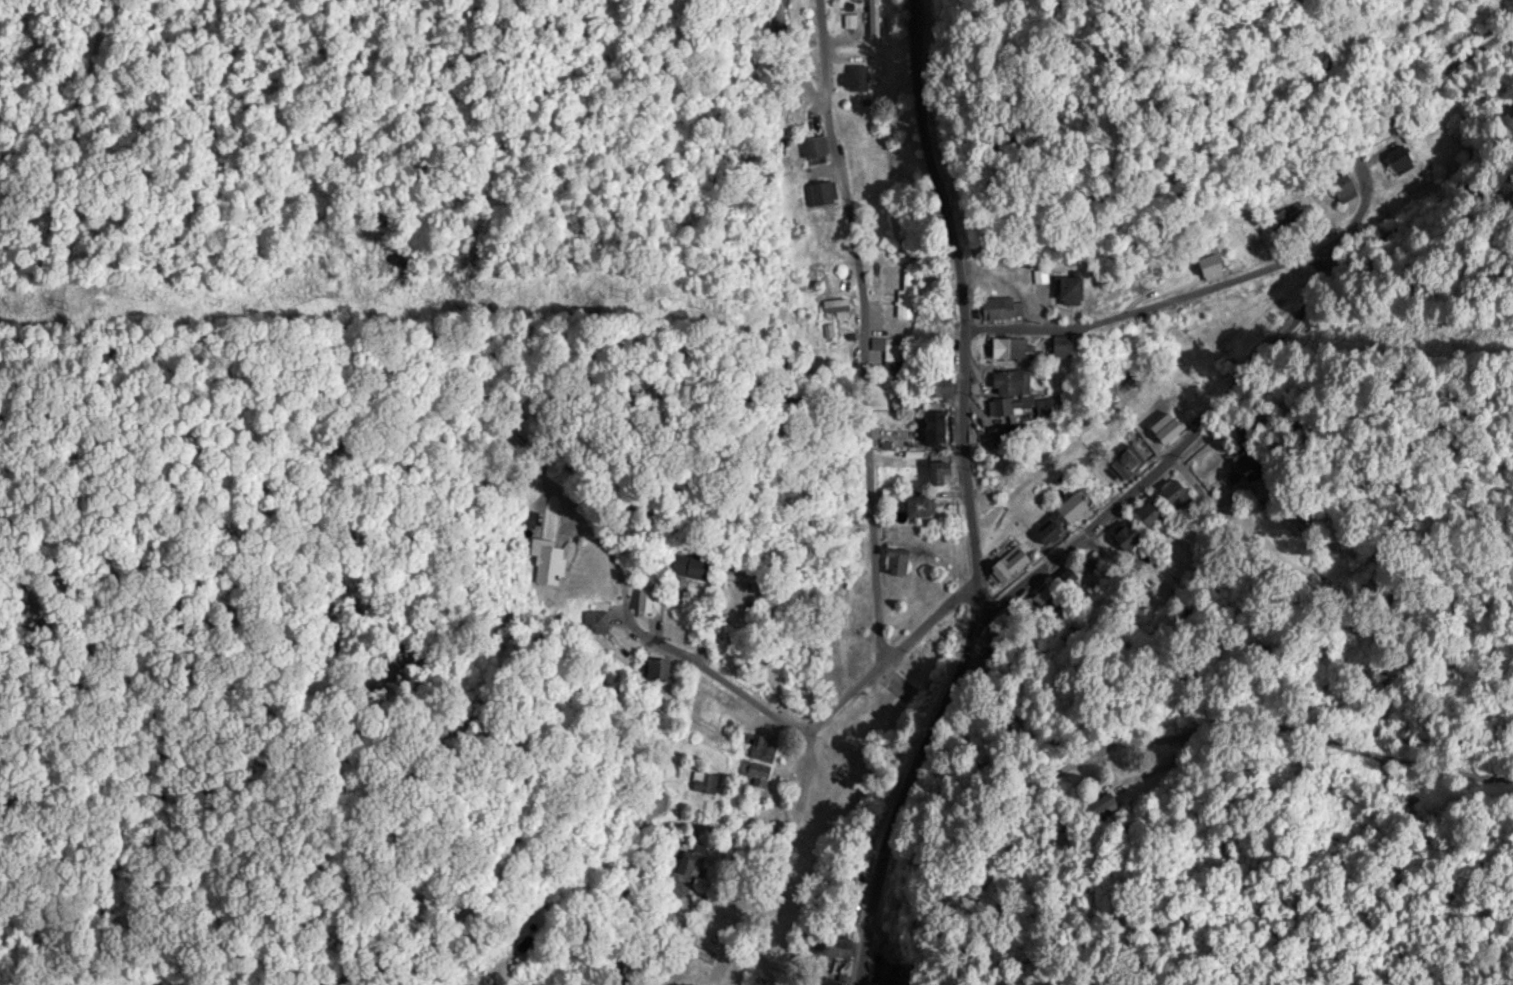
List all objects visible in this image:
building: (778, 13)
building: (872, 18)
building: (848, 20)
building: (798, 56)
building: (1313, 59)
building: (853, 78)
road: (1386, 97)
building: (809, 146)
building: (1396, 160)
building: (1338, 187)
building: (818, 191)
building: (1285, 213)
building: (897, 234)
building: (1258, 248)
building: (1204, 265)
building: (1063, 290)
building: (906, 296)
road: (1158, 302)
building: (996, 308)
road: (865, 328)
building: (1055, 347)
building: (1007, 348)
building: (892, 349)
building: (1005, 381)
building: (934, 386)
building: (893, 392)
building: (1004, 407)
building: (930, 426)
building: (1161, 428)
road: (1506, 439)
building: (1241, 460)
building: (1123, 462)
building: (935, 472)
building: (1172, 493)
road: (961, 498)
building: (914, 504)
building: (1147, 513)
building: (1061, 516)
building: (527, 517)
road: (1091, 536)
building: (1124, 536)
building: (546, 559)
building: (896, 562)
building: (683, 564)
building: (1005, 564)
building: (737, 576)
building: (644, 600)
building: (595, 617)
road: (923, 639)
building: (654, 668)
road: (763, 703)
road: (1147, 737)
building: (758, 747)
building: (752, 772)
building: (700, 782)
building: (1094, 806)
building: (687, 861)
road: (563, 937)
building: (832, 951)
road: (647, 953)
building: (822, 981)

